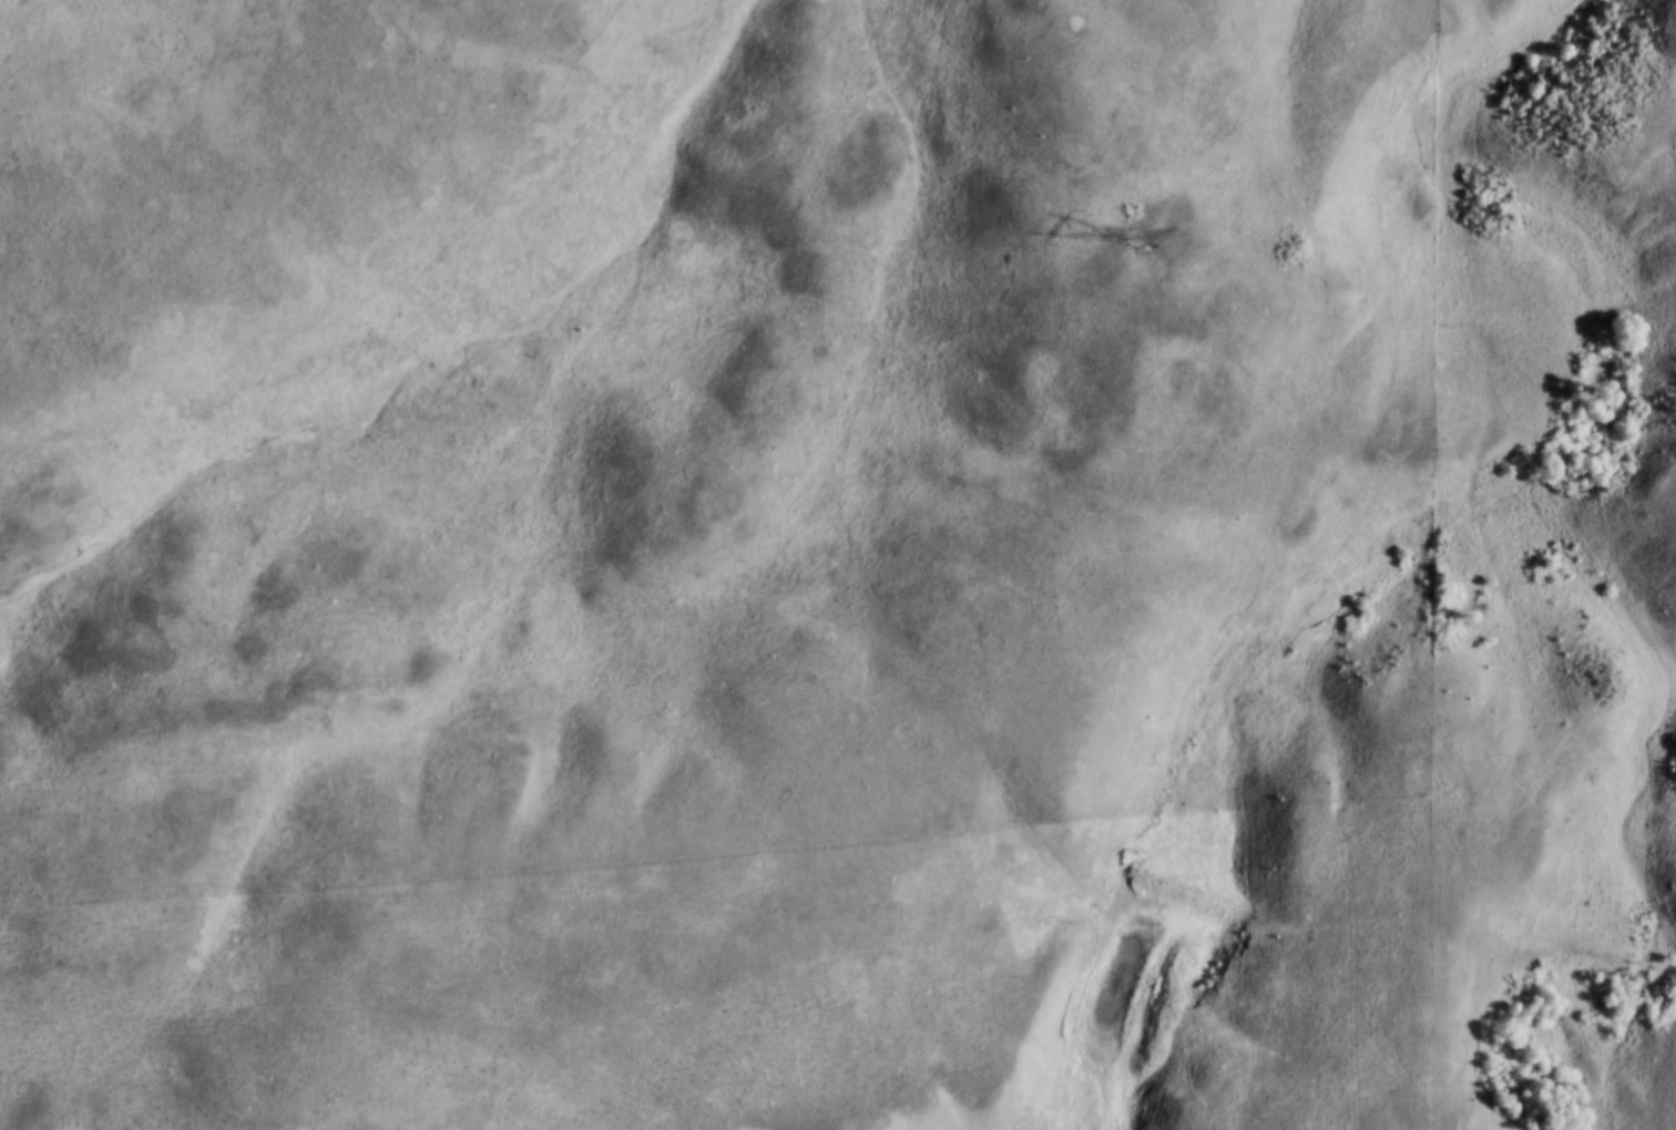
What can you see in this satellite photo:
power tower: (1138, 240)

